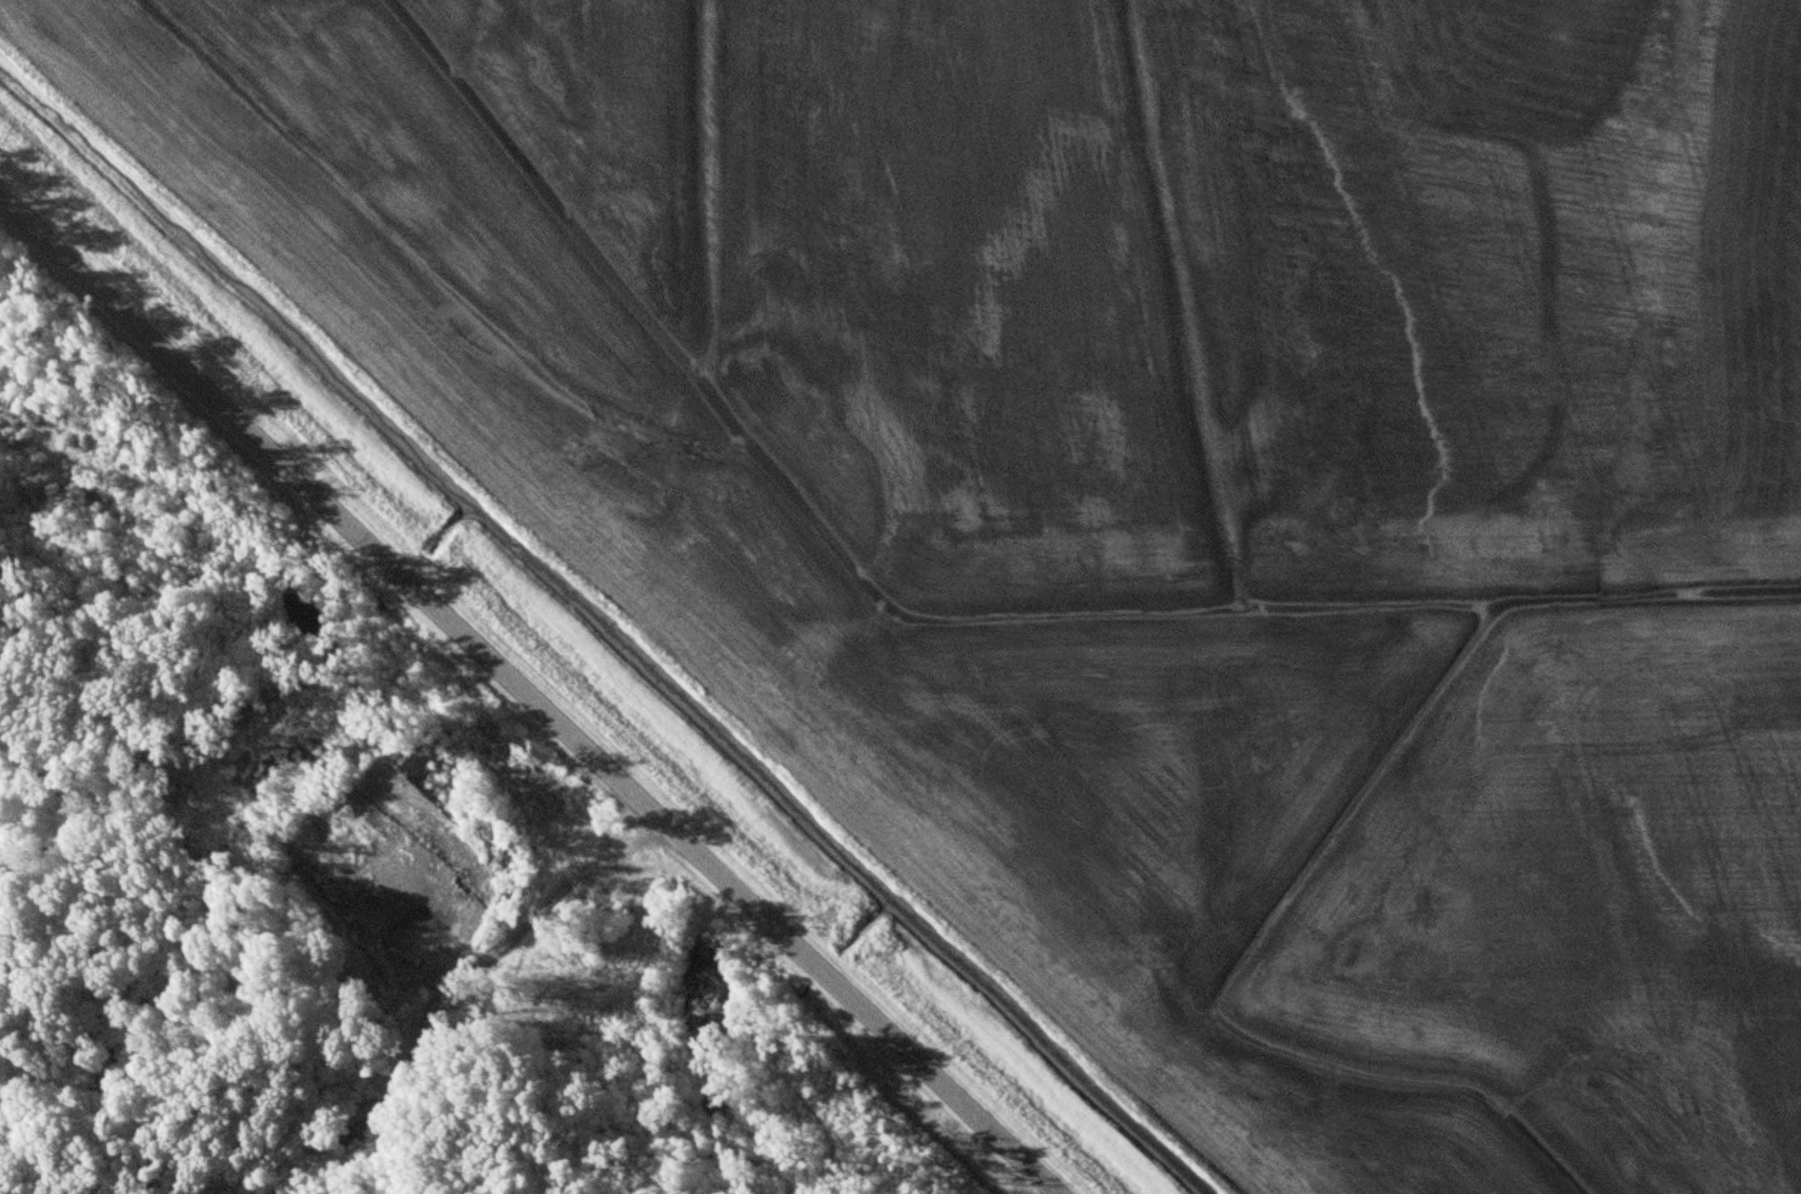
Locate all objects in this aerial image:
road: (532, 696)

